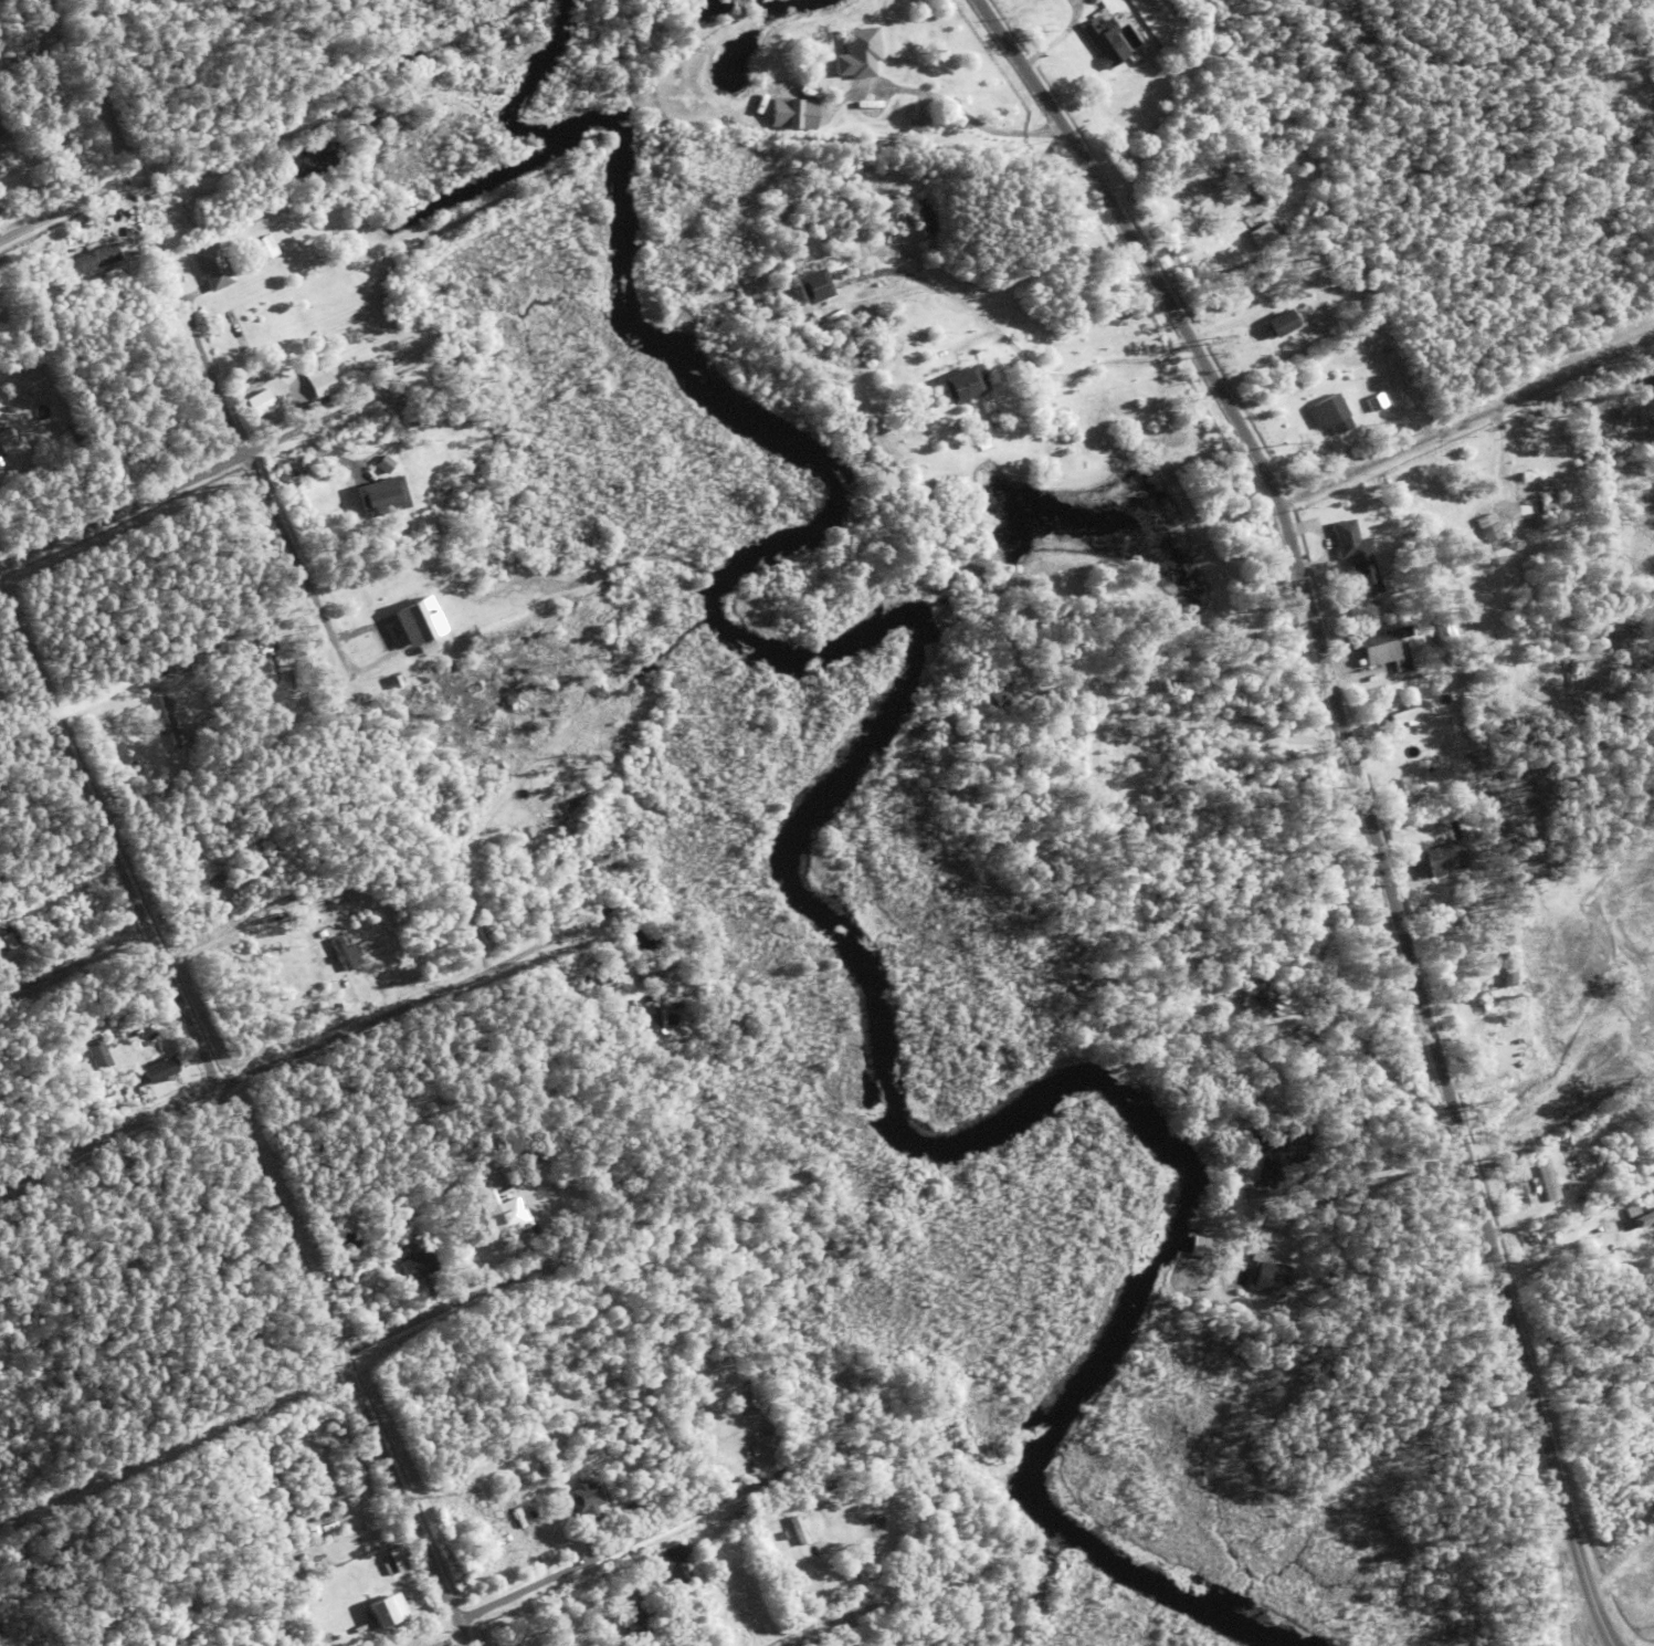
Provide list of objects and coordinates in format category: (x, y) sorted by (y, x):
building: (884, 25)
building: (1106, 42)
building: (858, 53)
building: (13, 59)
building: (793, 113)
building: (921, 124)
building: (588, 144)
building: (78, 159)
building: (62, 162)
building: (1270, 191)
building: (1251, 193)
road: (85, 202)
building: (146, 220)
building: (166, 227)
building: (1268, 233)
building: (127, 243)
building: (265, 247)
building: (93, 260)
building: (213, 269)
building: (812, 287)
building: (1281, 325)
building: (972, 359)
building: (284, 374)
building: (319, 382)
building: (965, 385)
building: (304, 389)
building: (260, 402)
building: (1374, 402)
building: (1327, 412)
building: (436, 424)
road: (1463, 427)
road: (182, 429)
building: (10, 443)
building: (1347, 443)
building: (0, 463)
building: (384, 464)
building: (283, 476)
building: (1546, 485)
building: (382, 496)
building: (1546, 506)
building: (1357, 513)
road: (130, 514)
building: (1528, 516)
building: (1489, 531)
building: (1356, 557)
building: (1423, 565)
road: (254, 586)
building: (417, 623)
building: (1443, 631)
building: (1382, 637)
building: (1409, 648)
building: (367, 651)
building: (417, 661)
building: (1388, 665)
building: (178, 668)
building: (266, 670)
building: (147, 680)
building: (397, 680)
building: (997, 701)
building: (1409, 715)
building: (170, 722)
building: (1064, 744)
building: (1064, 772)
road: (1359, 793)
river: (791, 834)
building: (1442, 862)
building: (1439, 882)
road: (1329, 884)
building: (1441, 890)
building: (256, 900)
building: (1351, 914)
building: (360, 920)
building: (51, 924)
building: (1453, 924)
building: (320, 935)
road: (1290, 936)
building: (30, 939)
building: (362, 948)
building: (7, 953)
building: (328, 953)
building: (341, 955)
building: (1508, 971)
building: (1297, 976)
building: (1263, 977)
building: (1246, 981)
building: (584, 985)
building: (1288, 987)
building: (1285, 997)
building: (1504, 1000)
building: (1257, 1002)
road: (375, 1019)
building: (647, 1024)
building: (98, 1057)
building: (84, 1070)
building: (159, 1070)
building: (356, 1108)
building: (1505, 1111)
road: (235, 1128)
building: (1568, 1162)
building: (1546, 1176)
building: (609, 1192)
building: (503, 1212)
building: (1640, 1216)
building: (1271, 1224)
building: (1644, 1241)
building: (1201, 1249)
building: (407, 1250)
building: (499, 1251)
building: (417, 1265)
building: (1267, 1275)
building: (379, 1278)
building: (412, 1294)
road: (447, 1309)
road: (1598, 1411)
building: (793, 1418)
building: (768, 1447)
building: (501, 1449)
building: (826, 1481)
building: (978, 1497)
road: (736, 1498)
building: (586, 1503)
building: (499, 1516)
building: (535, 1516)
building: (512, 1520)
building: (875, 1522)
building: (837, 1530)
building: (523, 1539)
building: (800, 1539)
building: (397, 1564)
building: (670, 1566)
road: (907, 1600)
building: (193, 1605)
building: (225, 1606)
building: (630, 1615)
building: (387, 1616)
building: (415, 1619)
building: (169, 1622)

